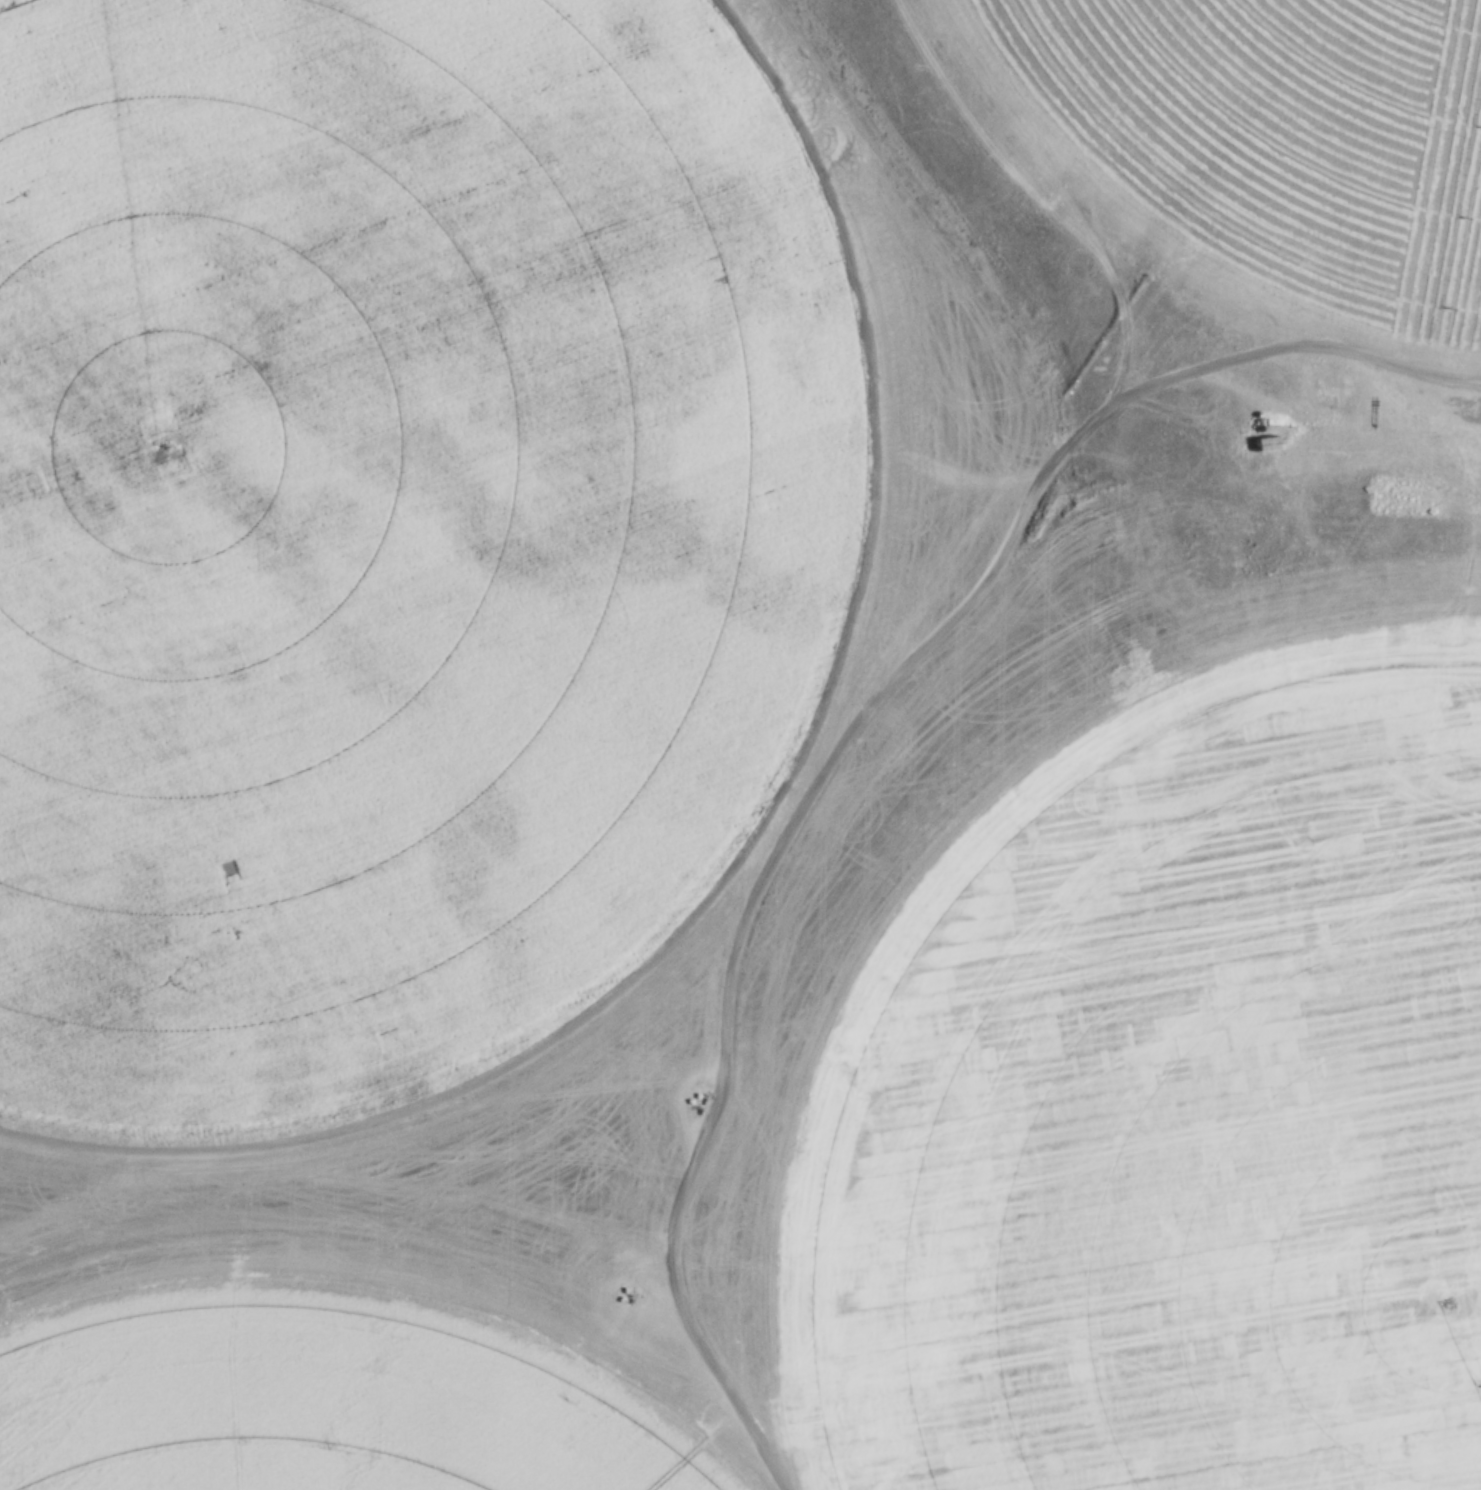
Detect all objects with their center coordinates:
crop: (1280, 139)
crop: (389, 530)
crop: (1178, 1096)
crop: (328, 1407)

